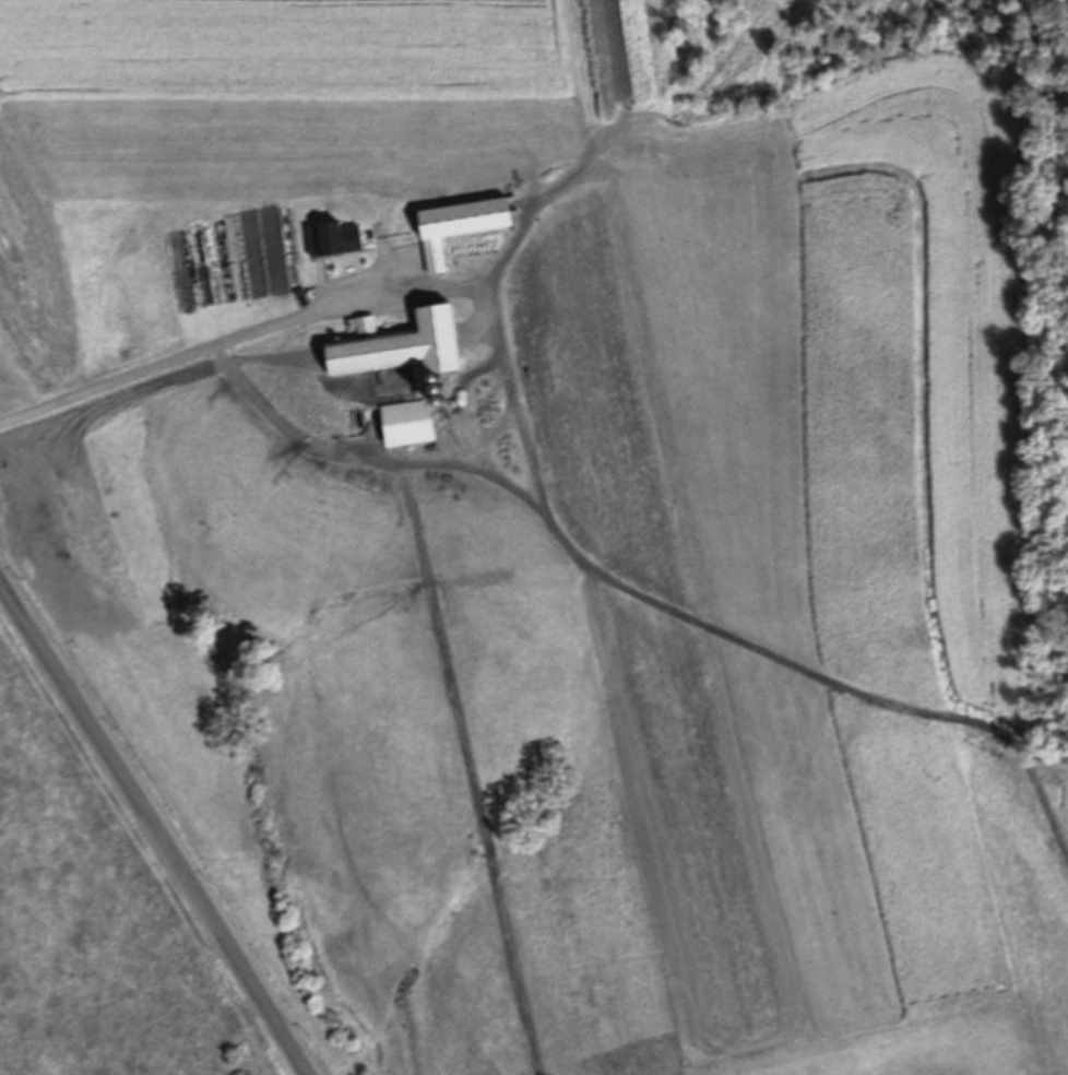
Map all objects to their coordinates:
road: (156, 825)

